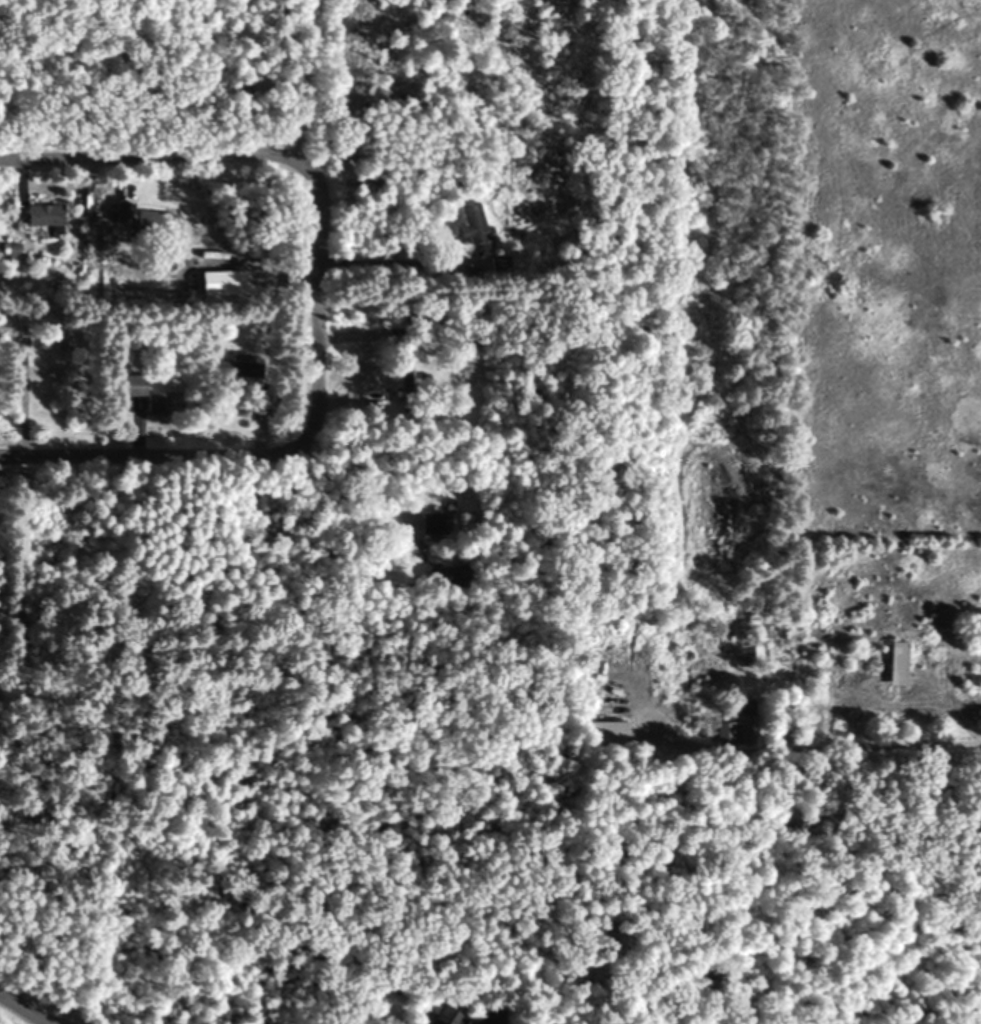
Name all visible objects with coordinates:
building: (118, 214)
building: (37, 216)
building: (467, 224)
road: (315, 306)
building: (431, 340)
building: (232, 365)
building: (51, 372)
building: (403, 382)
building: (144, 394)
building: (429, 522)
building: (449, 575)
building: (893, 663)
building: (737, 729)
building: (604, 733)
road: (893, 745)
road: (21, 1011)
building: (437, 1016)

